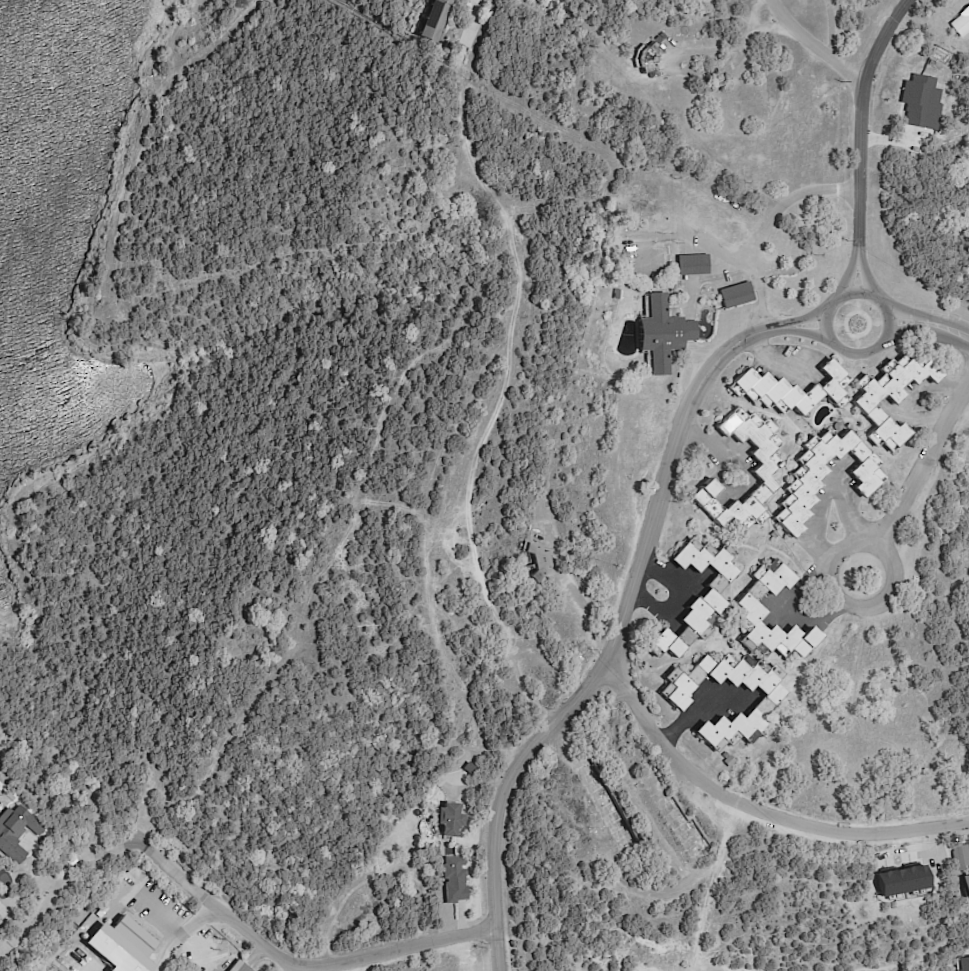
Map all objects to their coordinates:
building: (570, 0)
building: (434, 22)
building: (961, 23)
building: (663, 37)
building: (658, 41)
road: (813, 45)
road: (732, 49)
building: (647, 62)
building: (920, 103)
road: (861, 120)
building: (689, 210)
building: (714, 218)
road: (766, 224)
building: (691, 267)
road: (865, 273)
road: (848, 274)
building: (616, 296)
building: (735, 298)
road: (826, 312)
road: (905, 315)
road: (808, 316)
road: (949, 328)
road: (808, 331)
road: (905, 331)
building: (662, 335)
road: (773, 359)
building: (790, 391)
building: (890, 397)
road: (909, 402)
road: (709, 446)
road: (924, 460)
building: (766, 468)
building: (803, 485)
road: (824, 489)
building: (774, 535)
building: (537, 562)
road: (680, 597)
road: (803, 598)
road: (886, 598)
building: (707, 600)
road: (587, 609)
building: (749, 609)
building: (578, 626)
road: (620, 674)
building: (543, 682)
building: (762, 709)
road: (688, 721)
building: (728, 762)
road: (495, 791)
building: (447, 822)
building: (16, 830)
road: (148, 845)
building: (960, 859)
building: (453, 881)
building: (966, 889)
road: (10, 911)
building: (132, 938)
road: (389, 949)
building: (113, 958)
building: (237, 968)

